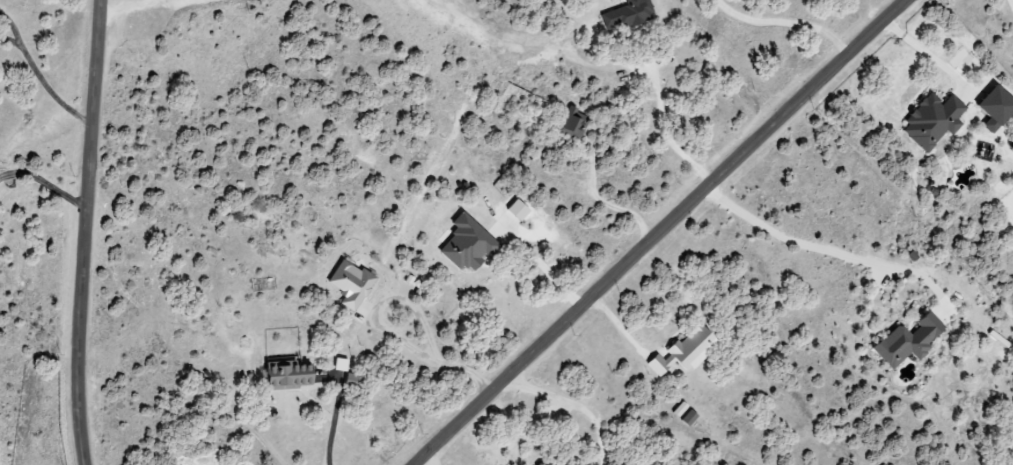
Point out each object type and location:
road: (112, 8)
building: (626, 14)
road: (784, 22)
road: (12, 28)
road: (8, 42)
road: (916, 46)
road: (47, 90)
building: (991, 108)
building: (930, 121)
building: (572, 124)
road: (664, 133)
road: (45, 180)
road: (83, 232)
road: (658, 232)
building: (464, 244)
road: (822, 251)
road: (541, 265)
building: (348, 283)
building: (904, 341)
building: (682, 352)
road: (424, 358)
building: (283, 376)
building: (679, 410)
building: (687, 418)
road: (332, 419)
road: (422, 462)

